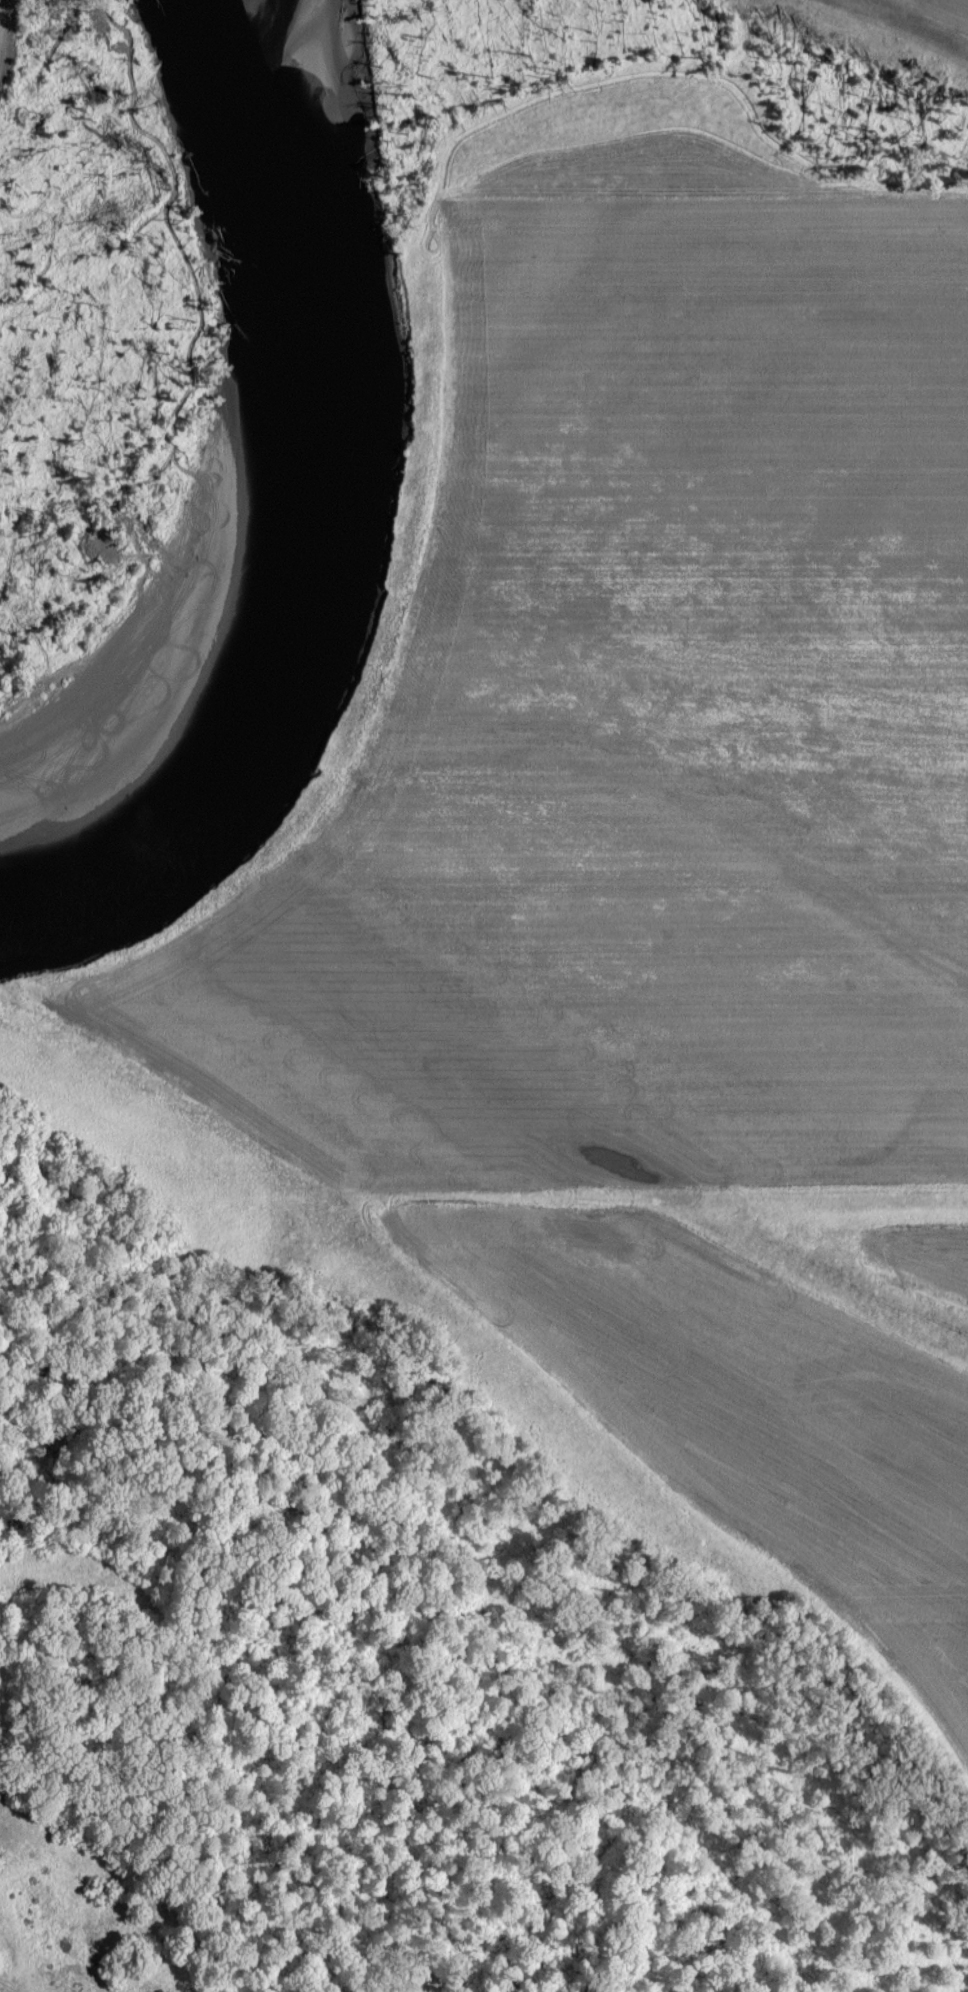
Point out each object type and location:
river: (294, 482)

